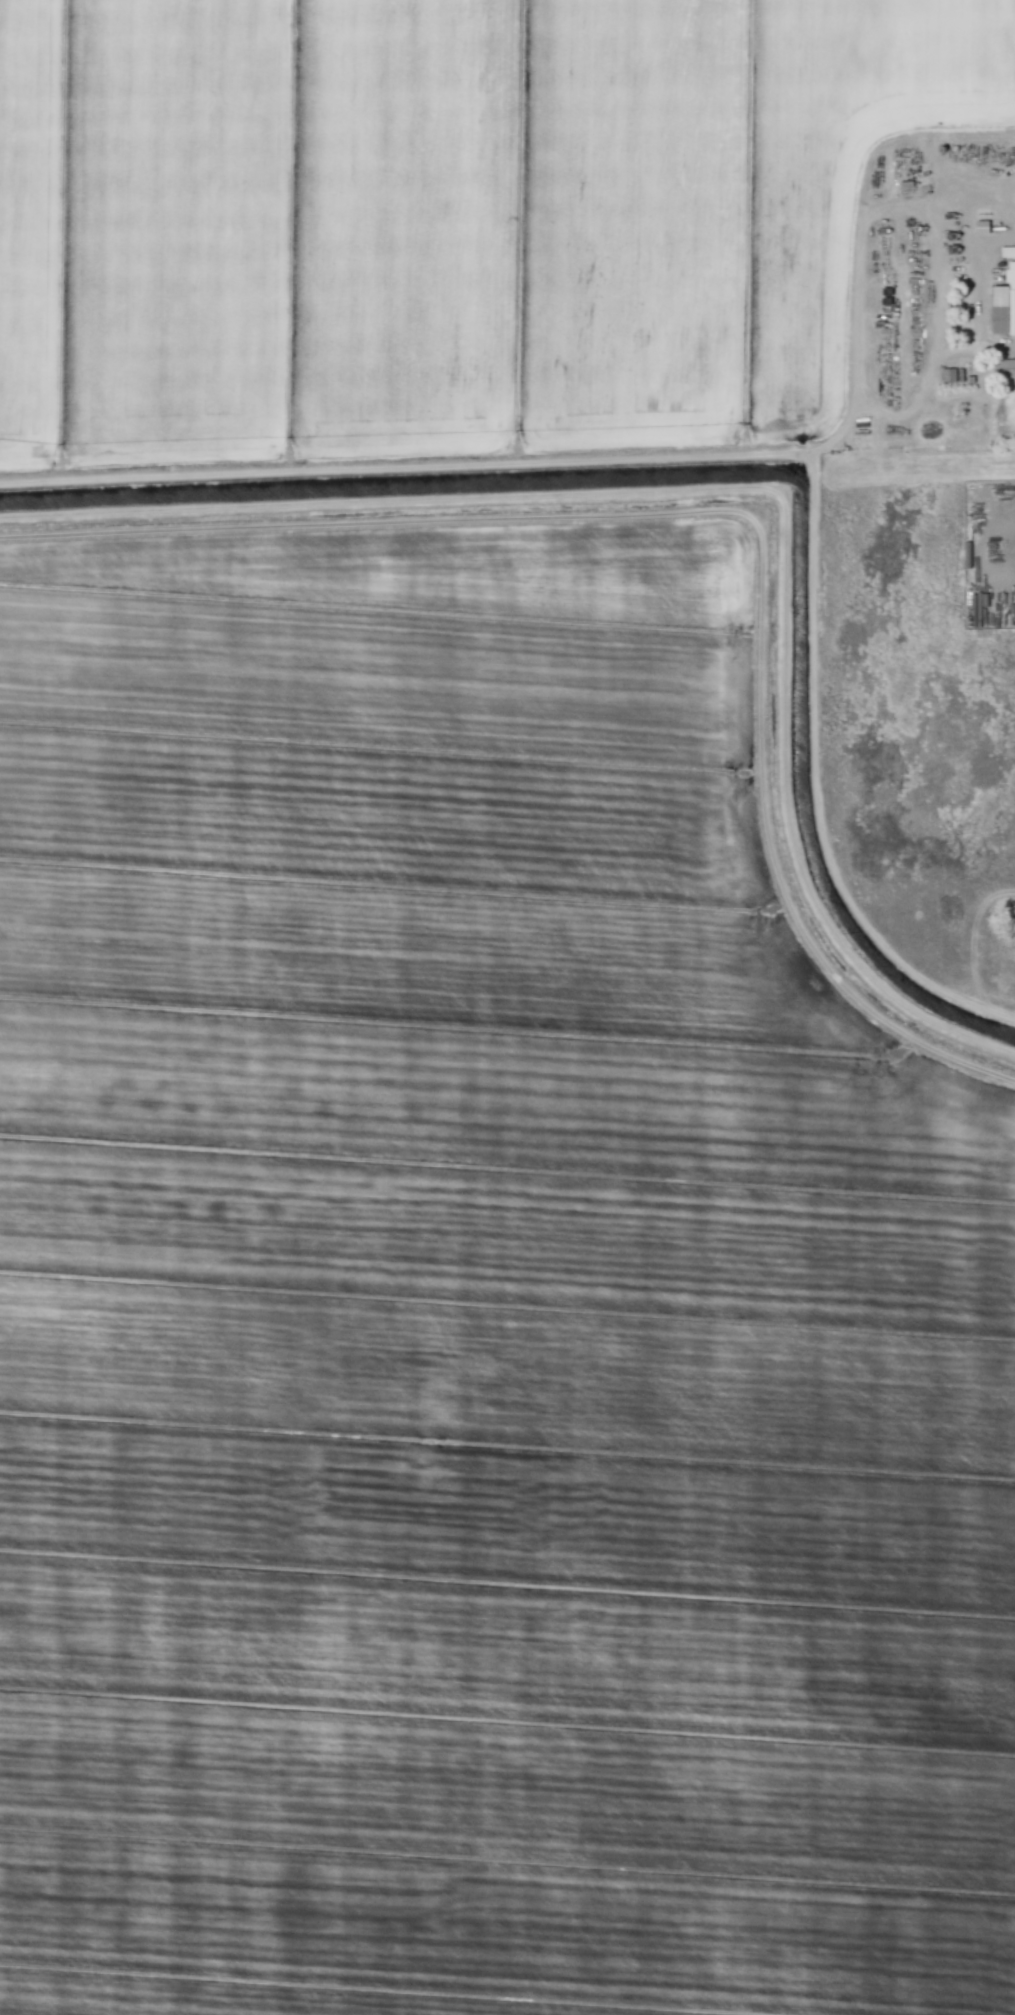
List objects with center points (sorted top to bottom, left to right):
building: (980, 226)
road: (975, 268)
building: (1002, 300)
building: (1009, 369)
building: (948, 374)

